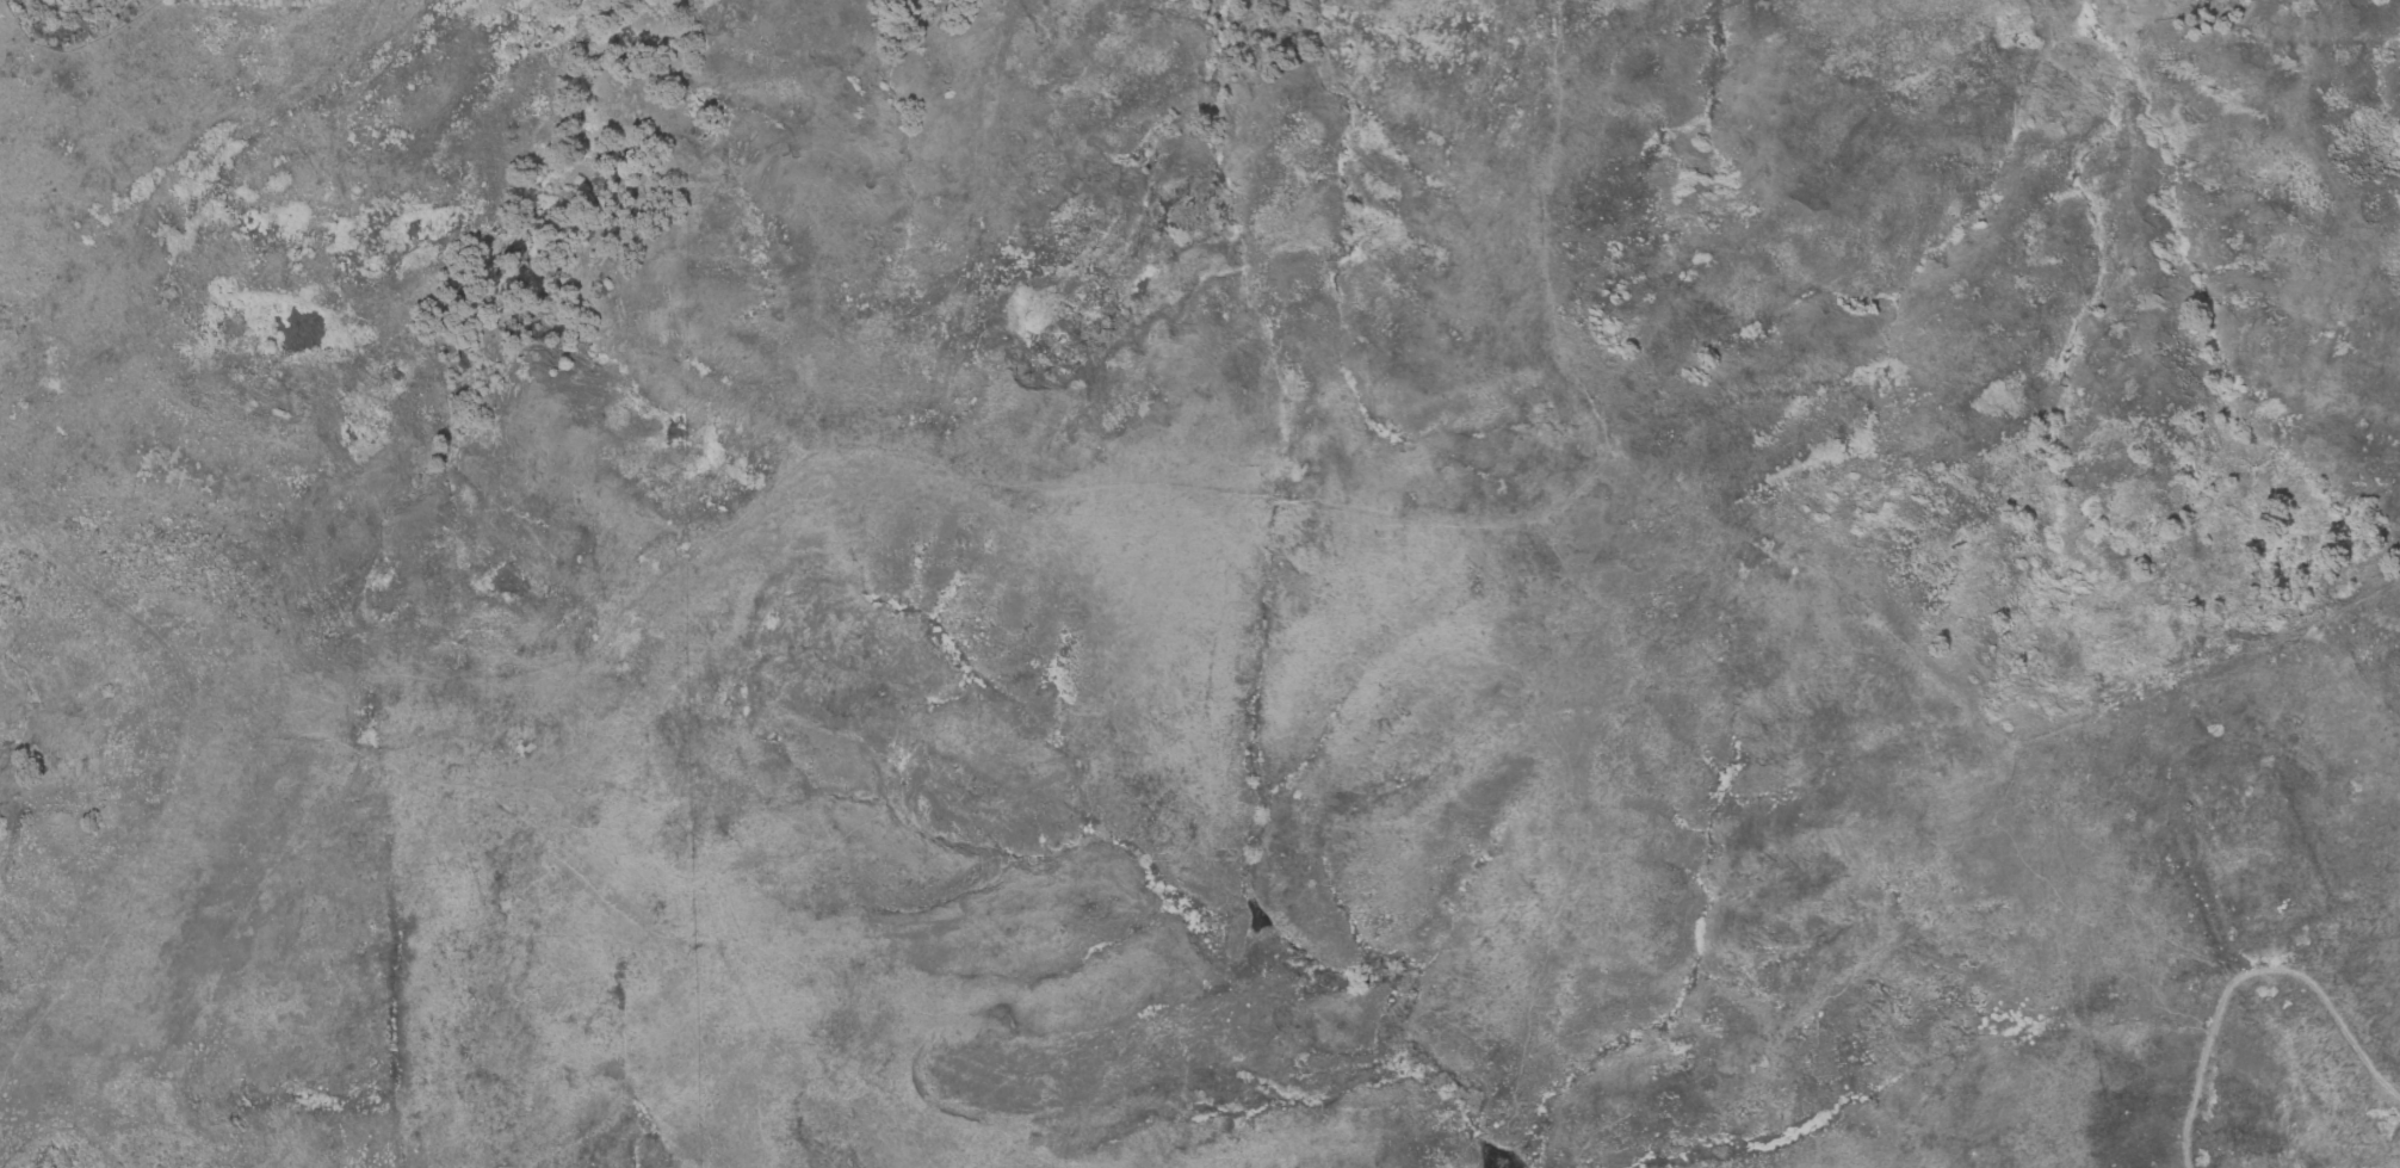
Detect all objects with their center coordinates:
road: (2353, 604)
road: (2182, 670)
road: (2071, 910)
road: (2249, 974)

